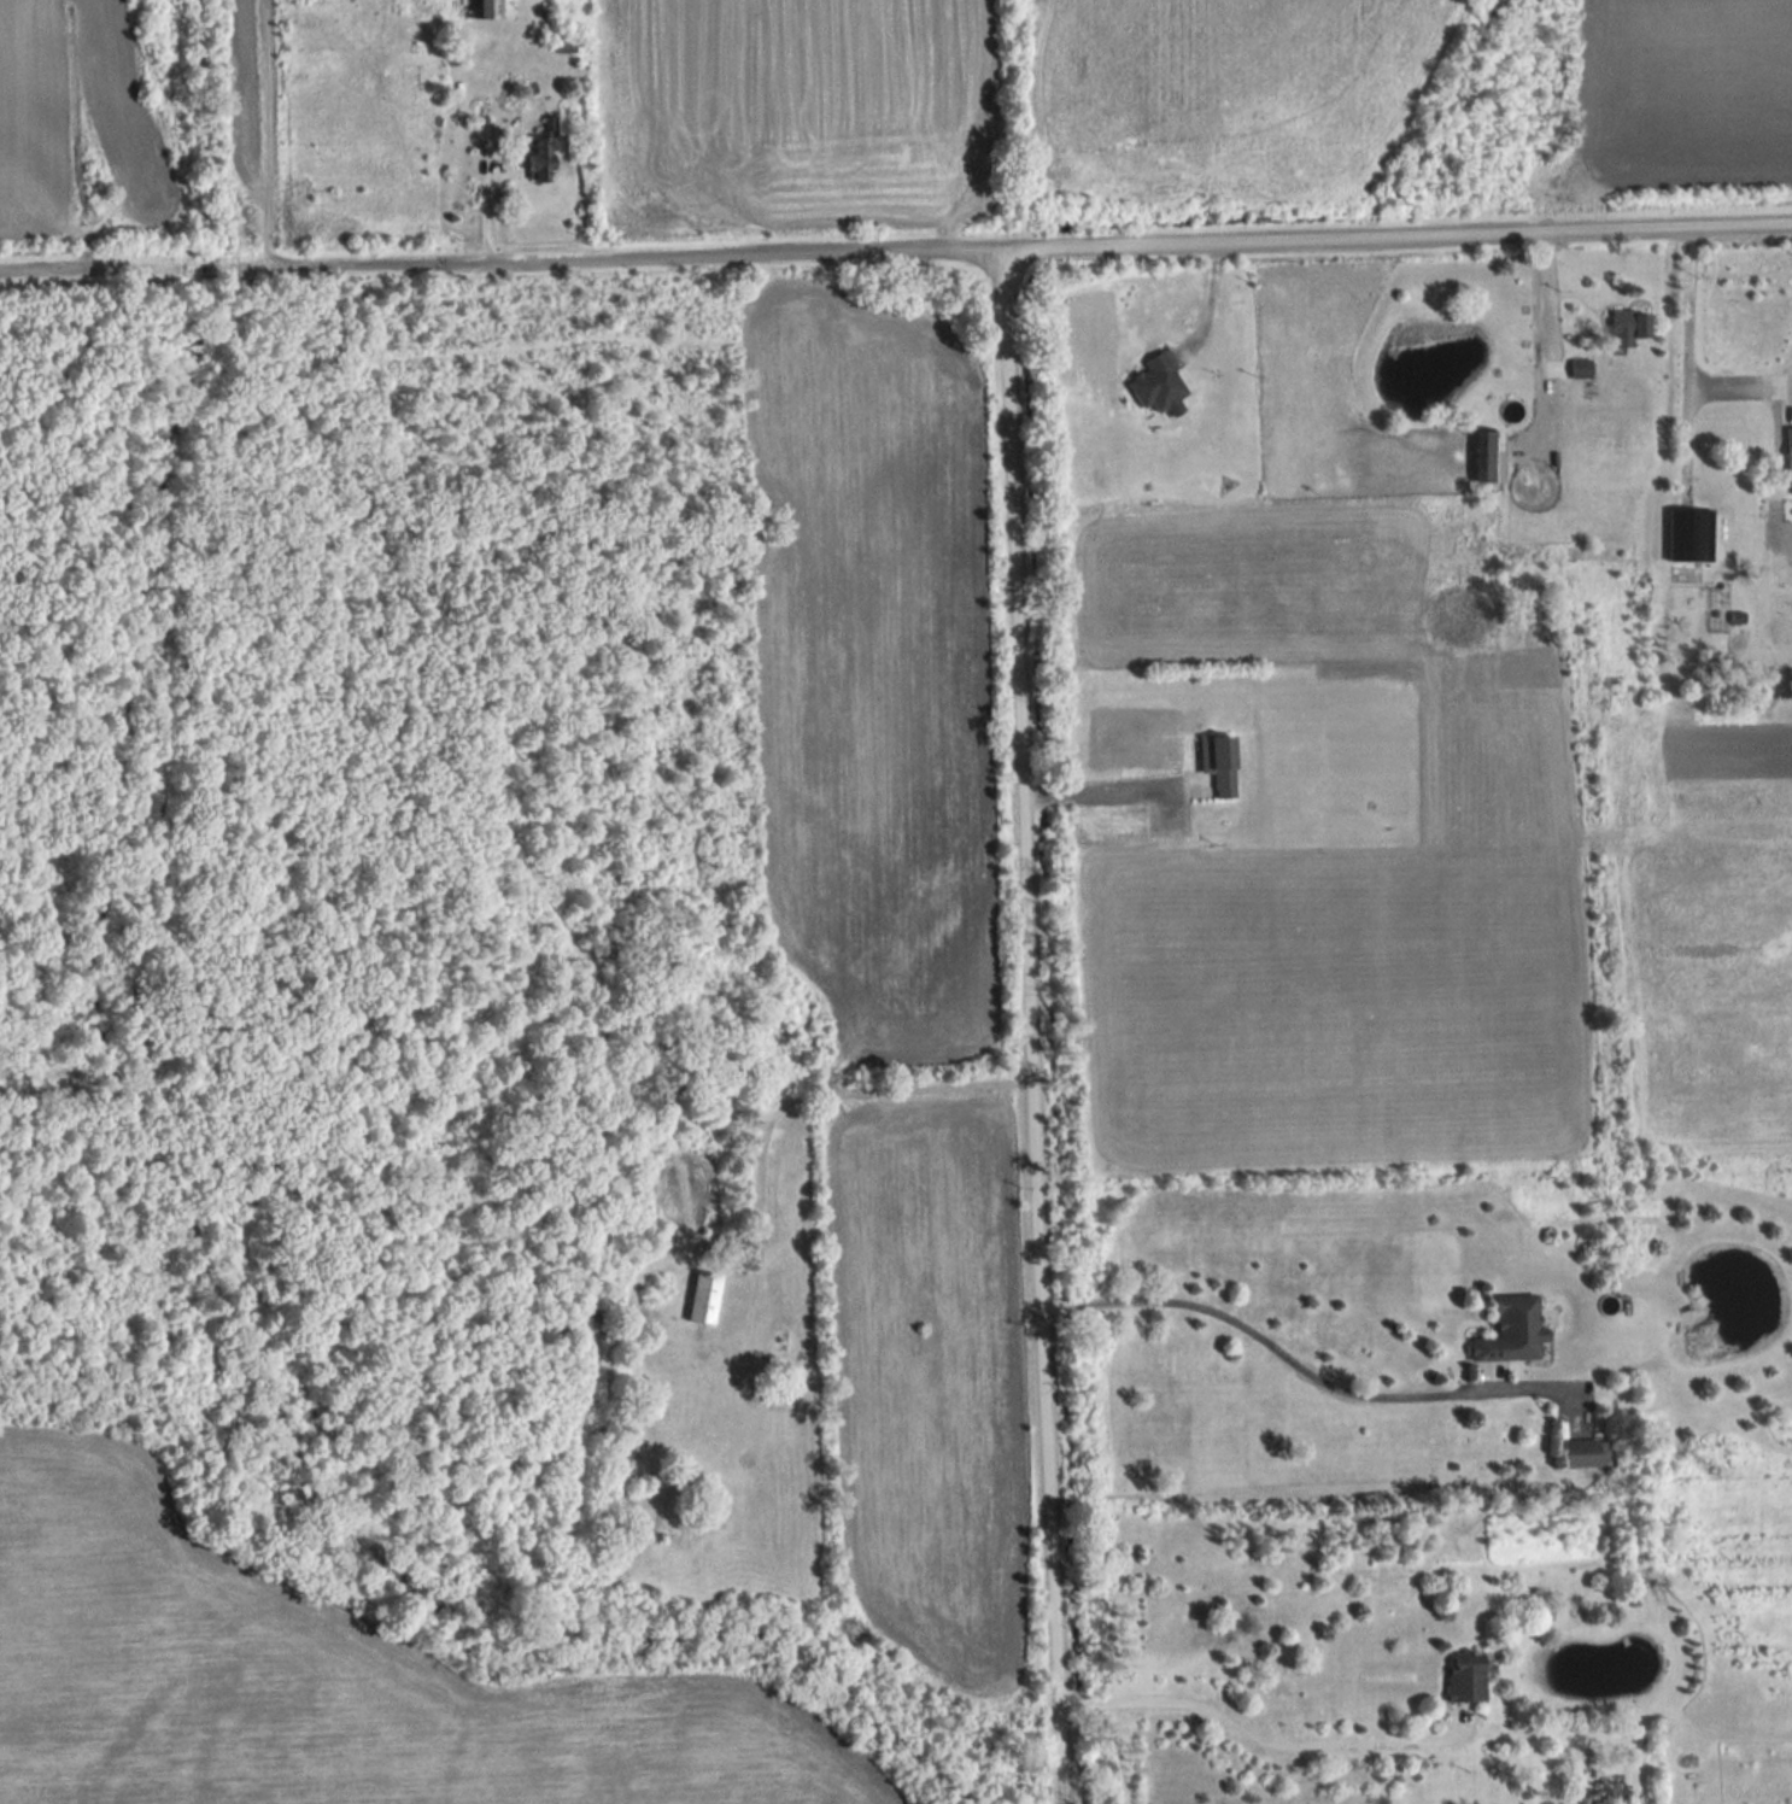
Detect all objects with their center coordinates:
building: (485, 8)
building: (541, 150)
road: (1015, 251)
road: (88, 270)
road: (1534, 294)
building: (1630, 323)
road: (1680, 356)
building: (1581, 368)
road: (1787, 374)
building: (1158, 385)
building: (1790, 450)
building: (1488, 457)
building: (1216, 762)
road: (1106, 792)
road: (1027, 1027)
building: (705, 1296)
building: (1510, 1330)
road: (1301, 1364)
building: (1576, 1452)
building: (1462, 1675)
road: (1255, 1738)
building: (1610, 1794)

